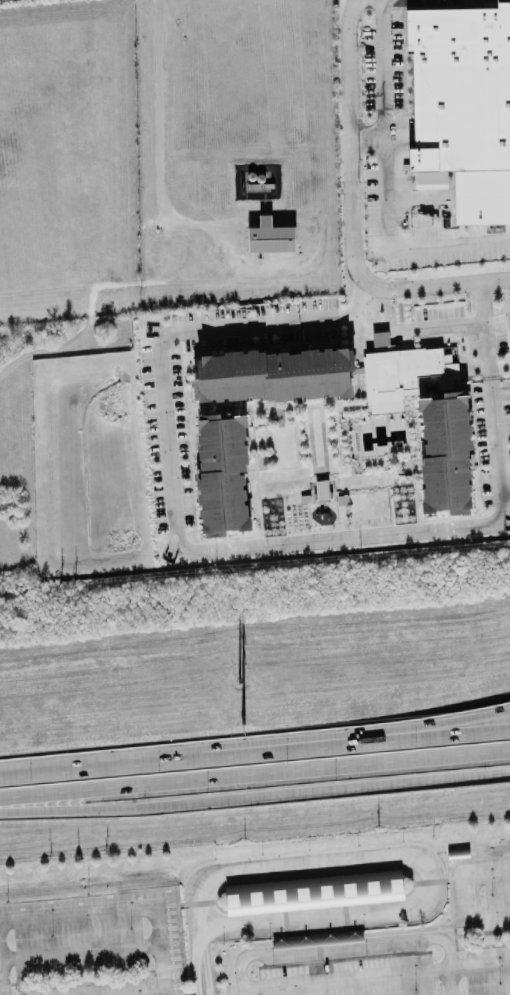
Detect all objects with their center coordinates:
road: (361, 1)
building: (462, 107)
road: (367, 133)
road: (158, 148)
road: (385, 182)
road: (352, 217)
building: (270, 237)
road: (413, 329)
building: (402, 373)
building: (272, 375)
building: (445, 454)
building: (224, 477)
building: (321, 489)
road: (239, 544)
power tower: (236, 686)
power tower: (239, 726)
road: (426, 726)
road: (254, 750)
road: (255, 776)
road: (447, 777)
road: (341, 788)
road: (149, 806)
railway: (255, 821)
road: (463, 858)
road: (420, 865)
road: (487, 877)
road: (428, 881)
road: (313, 882)
road: (465, 898)
road: (87, 900)
road: (198, 902)
road: (313, 902)
road: (180, 904)
building: (313, 905)
road: (76, 913)
road: (488, 913)
road: (345, 917)
road: (284, 923)
road: (453, 933)
road: (196, 935)
road: (351, 935)
road: (179, 943)
parking lot: (254, 946)
road: (349, 946)
road: (476, 946)
road: (78, 950)
road: (157, 950)
road: (317, 950)
road: (345, 959)
road: (167, 966)
road: (204, 967)
road: (194, 968)
road: (375, 977)
road: (9, 983)
road: (18, 987)
road: (0, 989)

